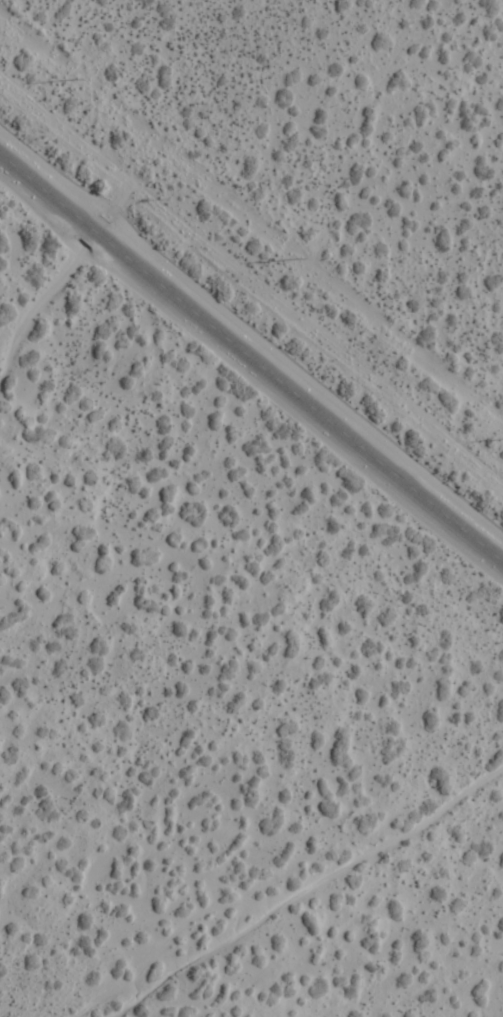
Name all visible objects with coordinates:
road: (251, 354)
building: (80, 400)
building: (107, 421)
building: (200, 675)

